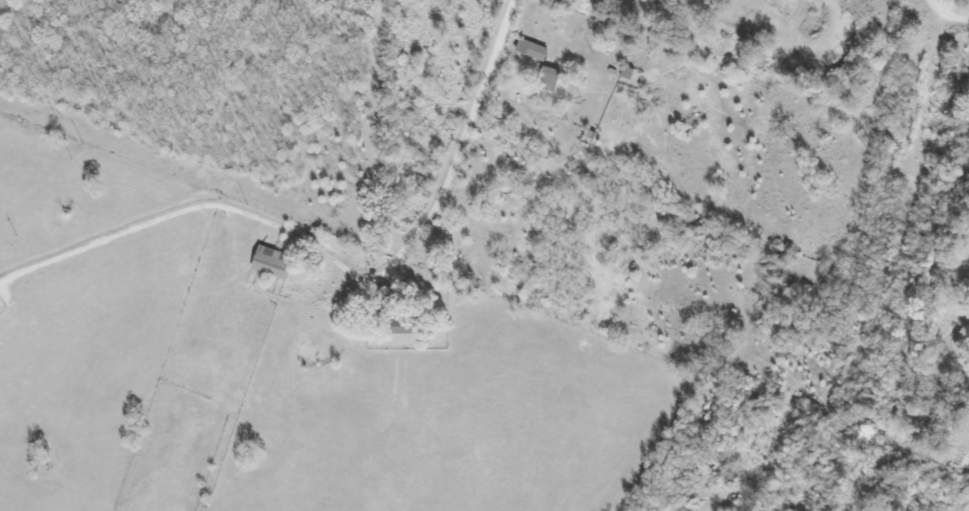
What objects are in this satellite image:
road: (946, 10)
building: (529, 48)
building: (547, 78)
road: (457, 152)
road: (181, 185)
building: (271, 260)
building: (405, 330)

